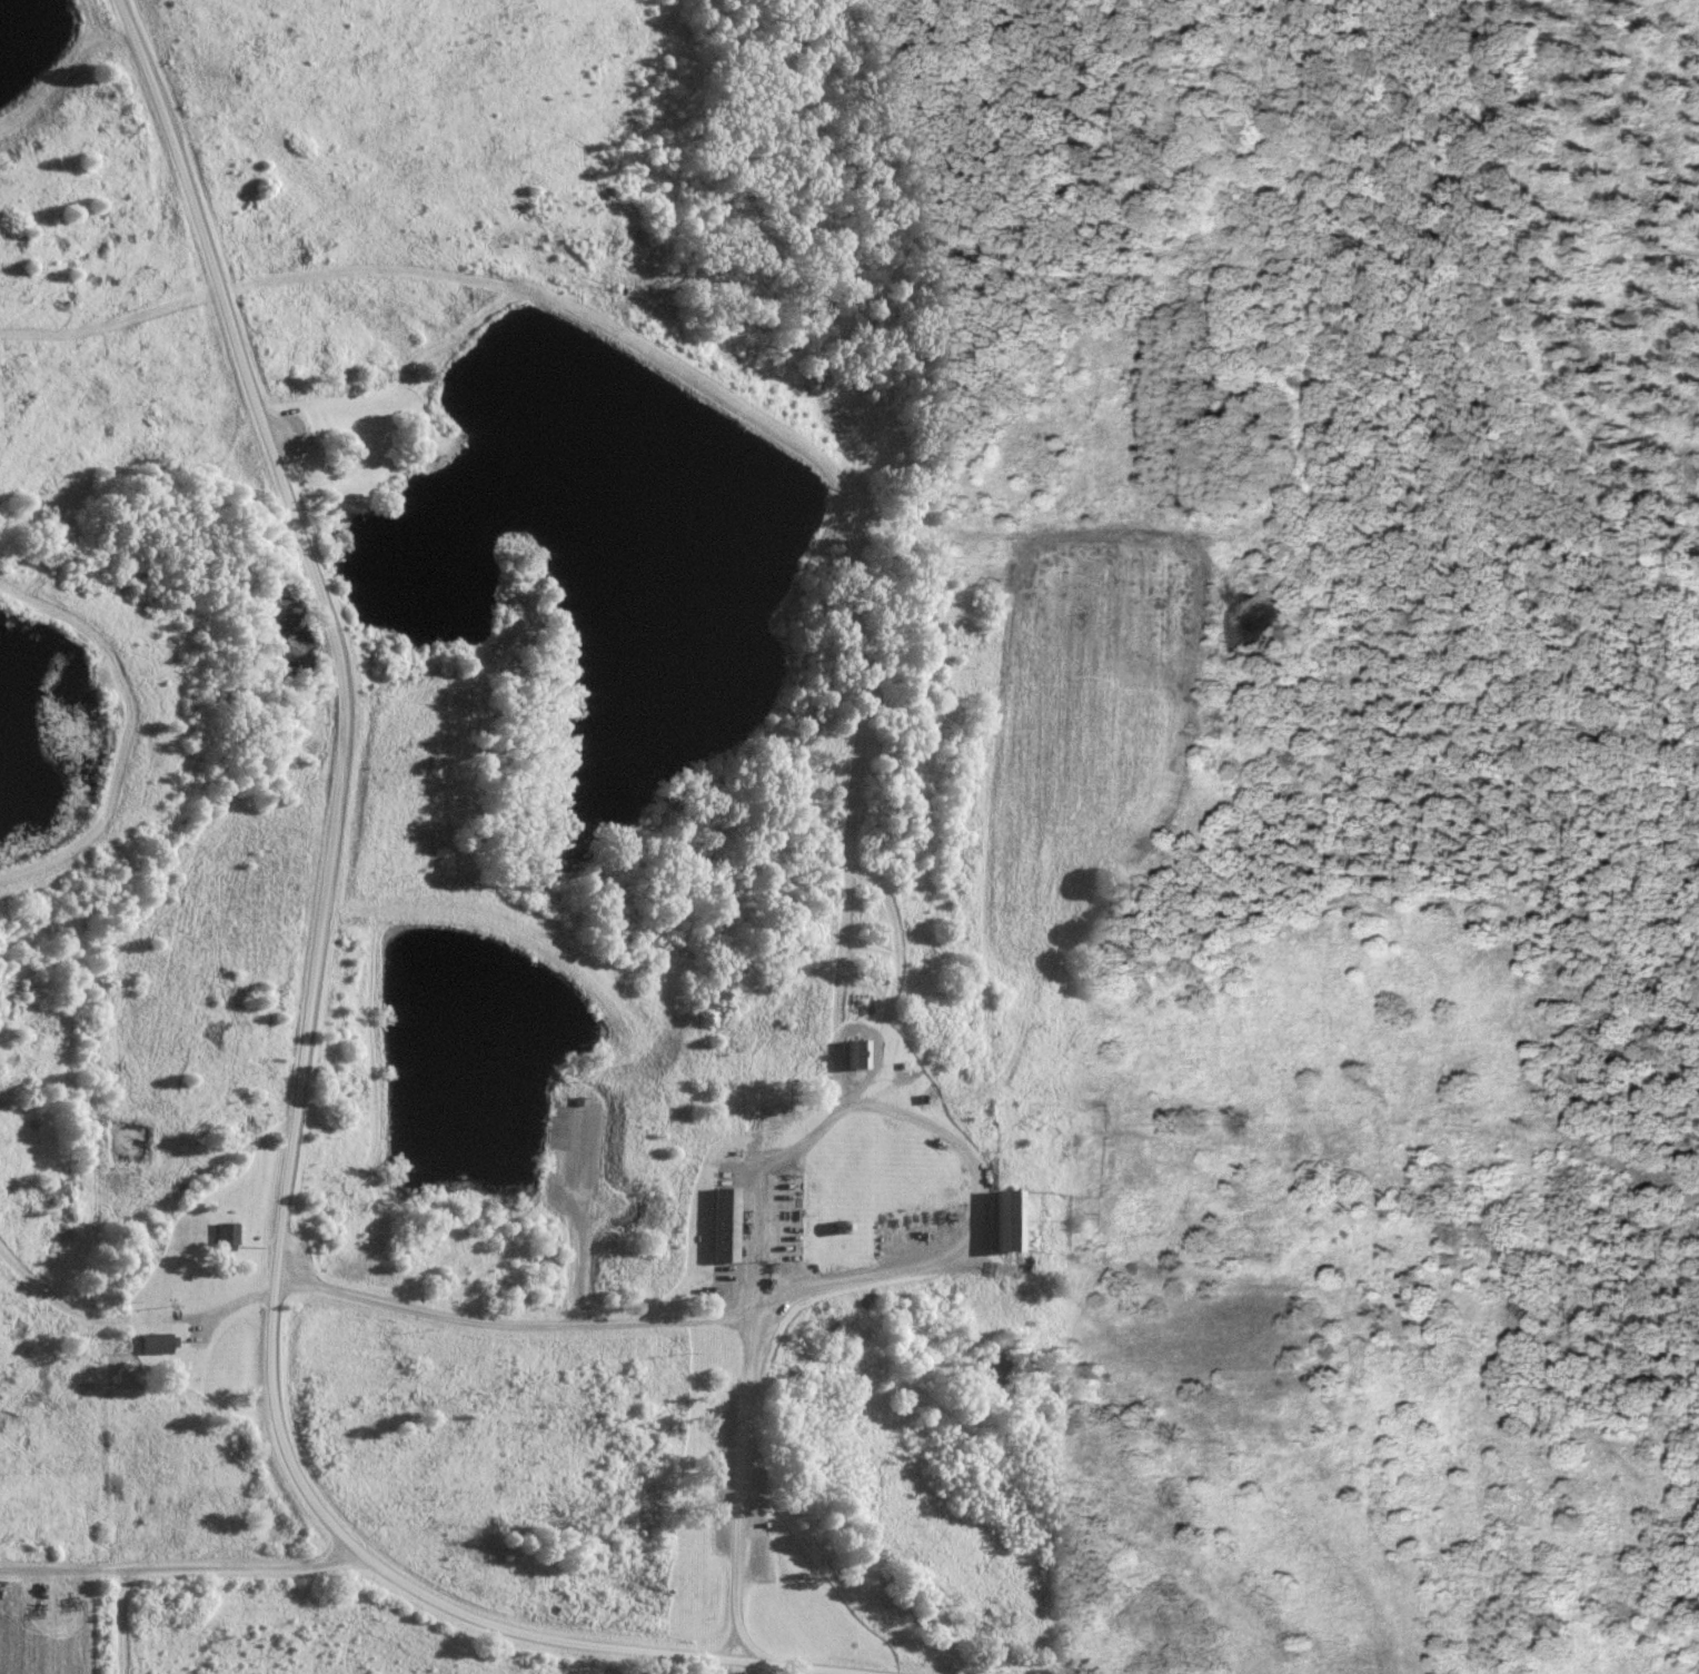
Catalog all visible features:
road: (305, 1050)
building: (846, 1054)
road: (936, 1136)
building: (998, 1221)
road: (577, 1222)
building: (714, 1226)
building: (831, 1228)
building: (222, 1236)
road: (510, 1326)
building: (152, 1345)
road: (737, 1483)

